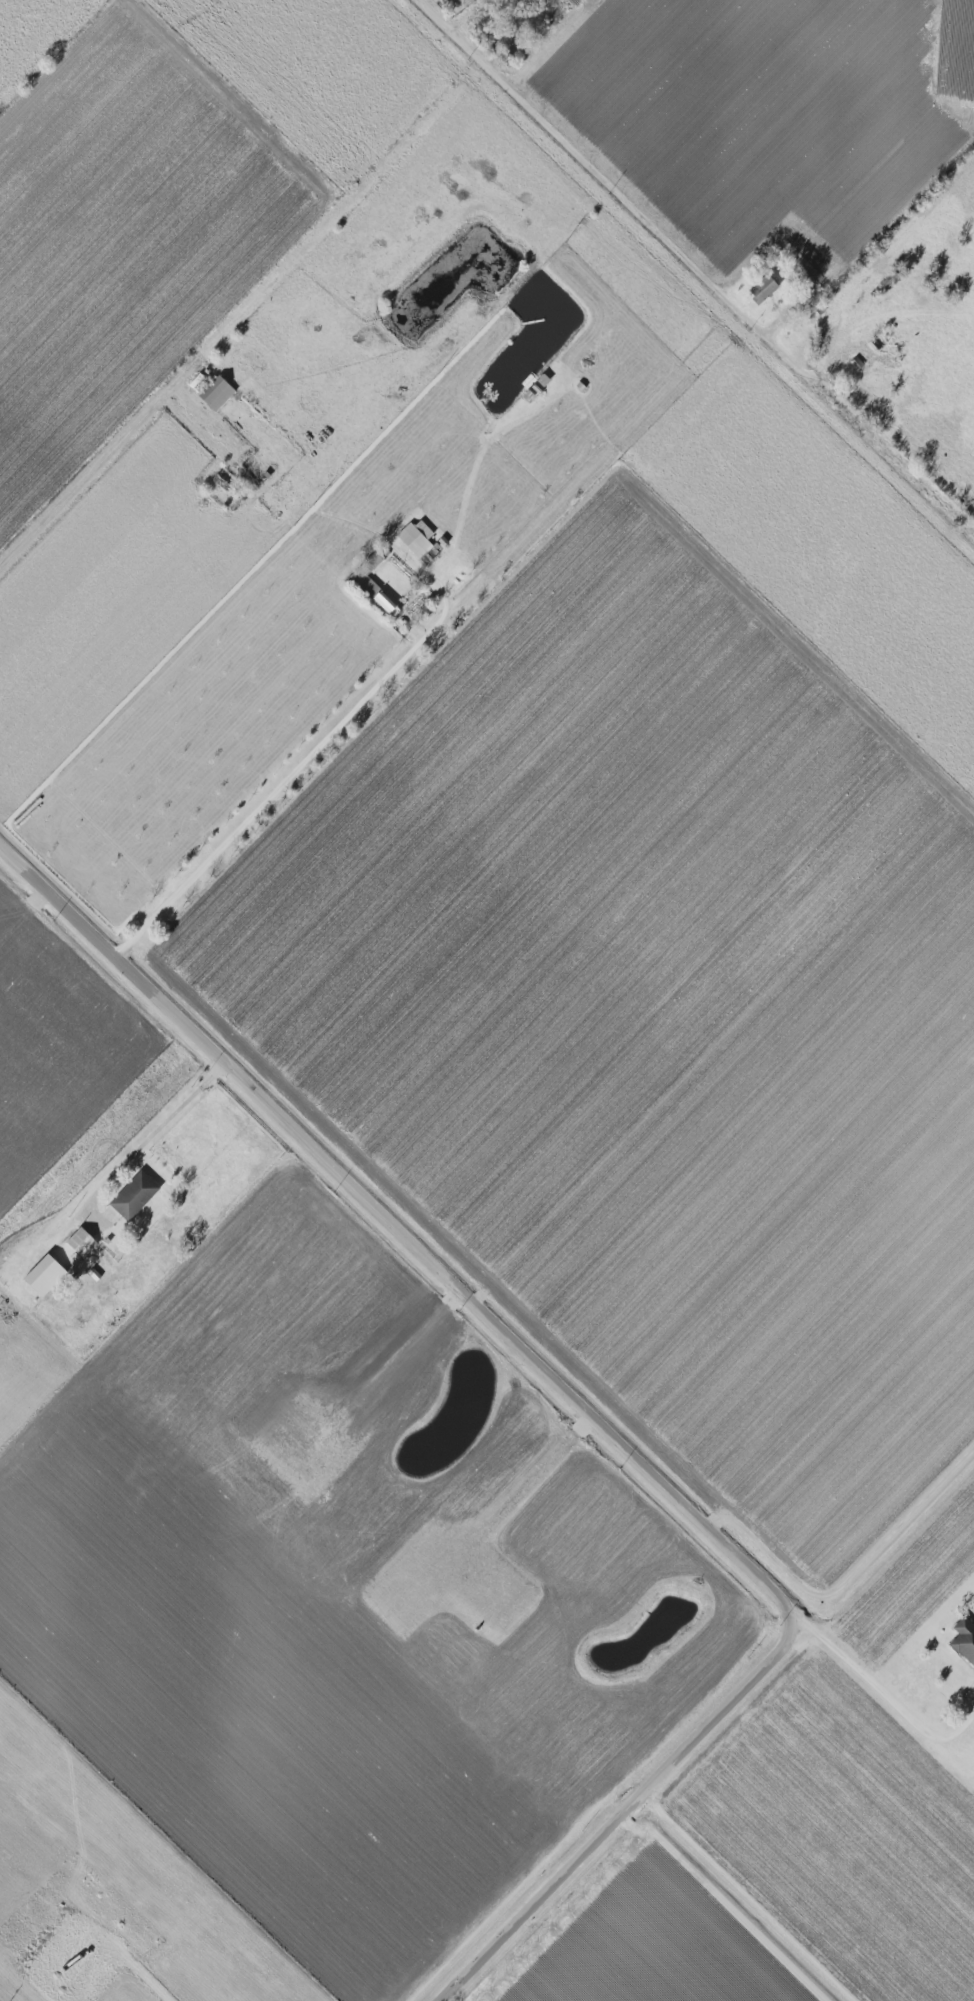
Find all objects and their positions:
road: (691, 272)
building: (763, 288)
building: (536, 387)
building: (216, 393)
road: (81, 482)
building: (416, 537)
building: (371, 584)
road: (306, 761)
road: (150, 1133)
building: (134, 1195)
building: (81, 1242)
road: (427, 1255)
building: (44, 1275)
road: (847, 1578)
road: (889, 1696)
road: (600, 1836)

